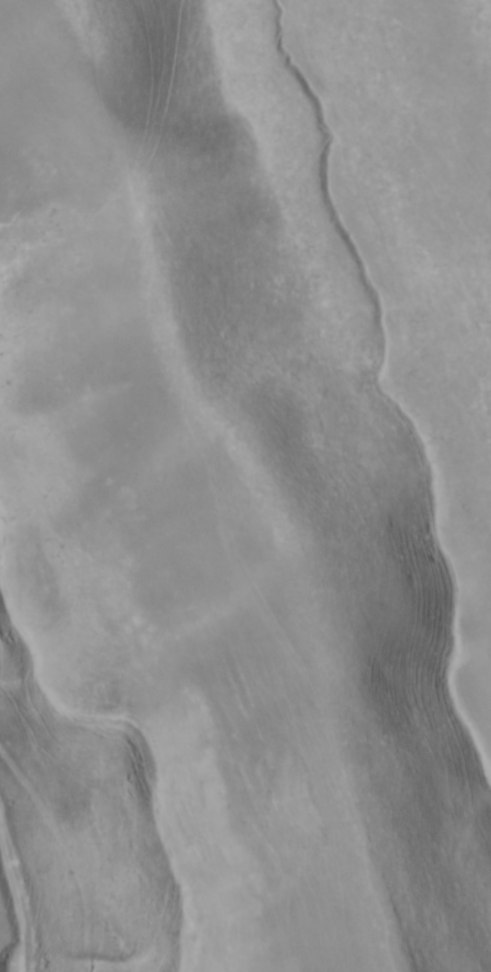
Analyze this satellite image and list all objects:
road: (16, 906)

